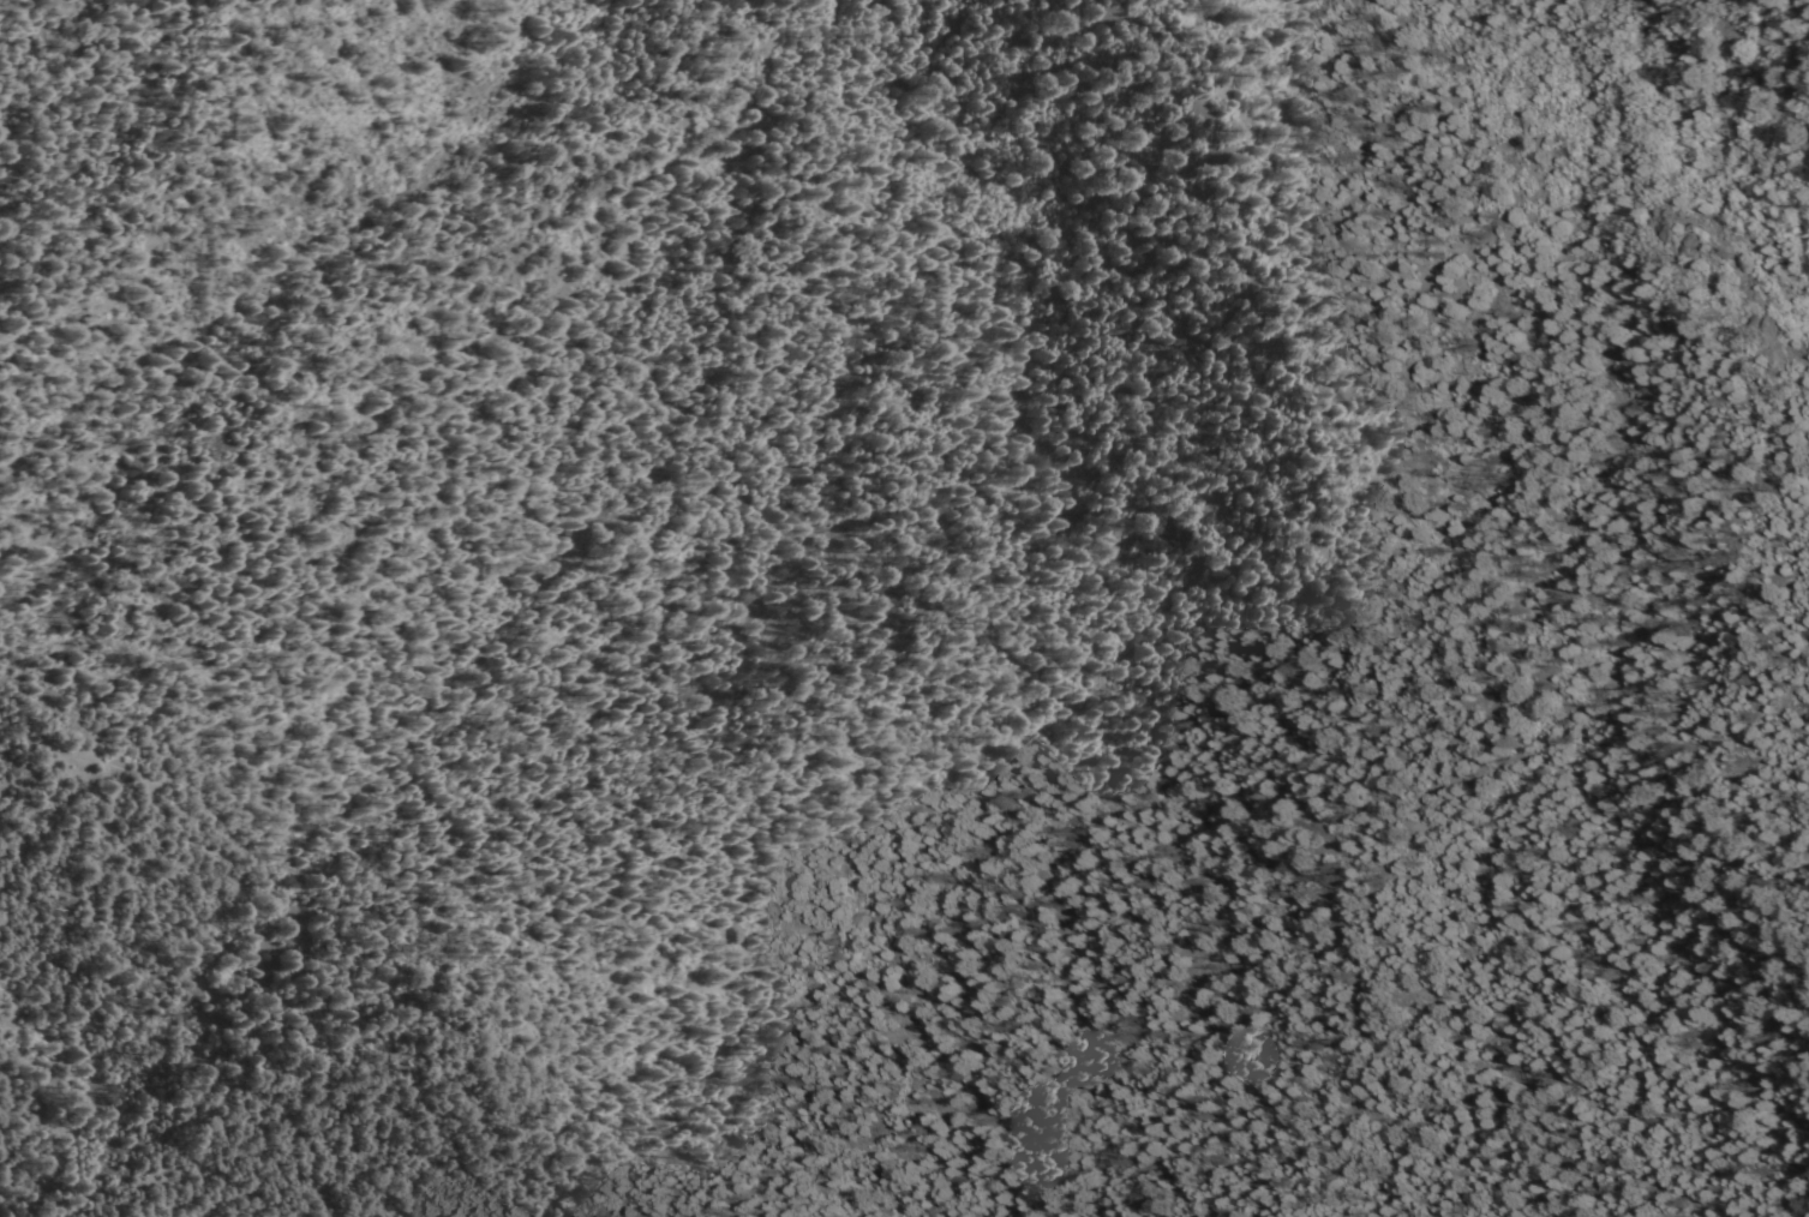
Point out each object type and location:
road: (331, 928)

